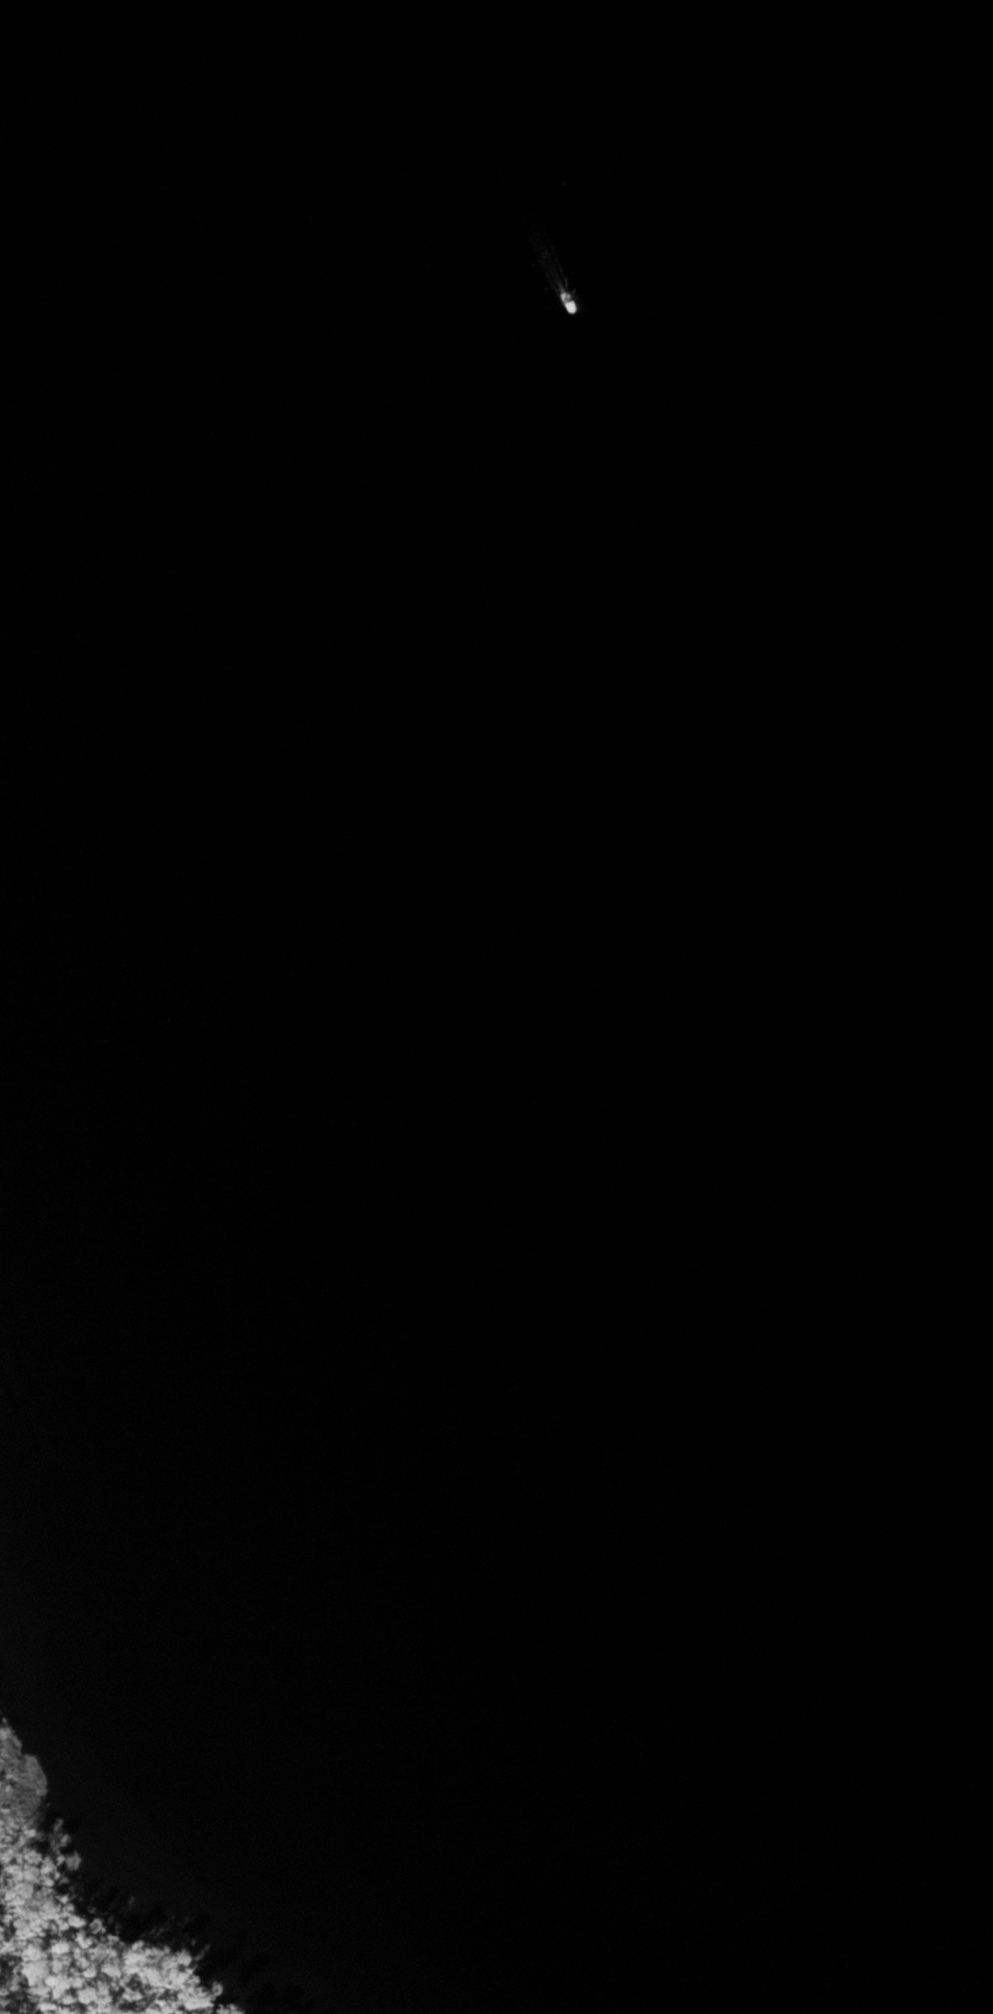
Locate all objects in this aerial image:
river: (755, 647)

